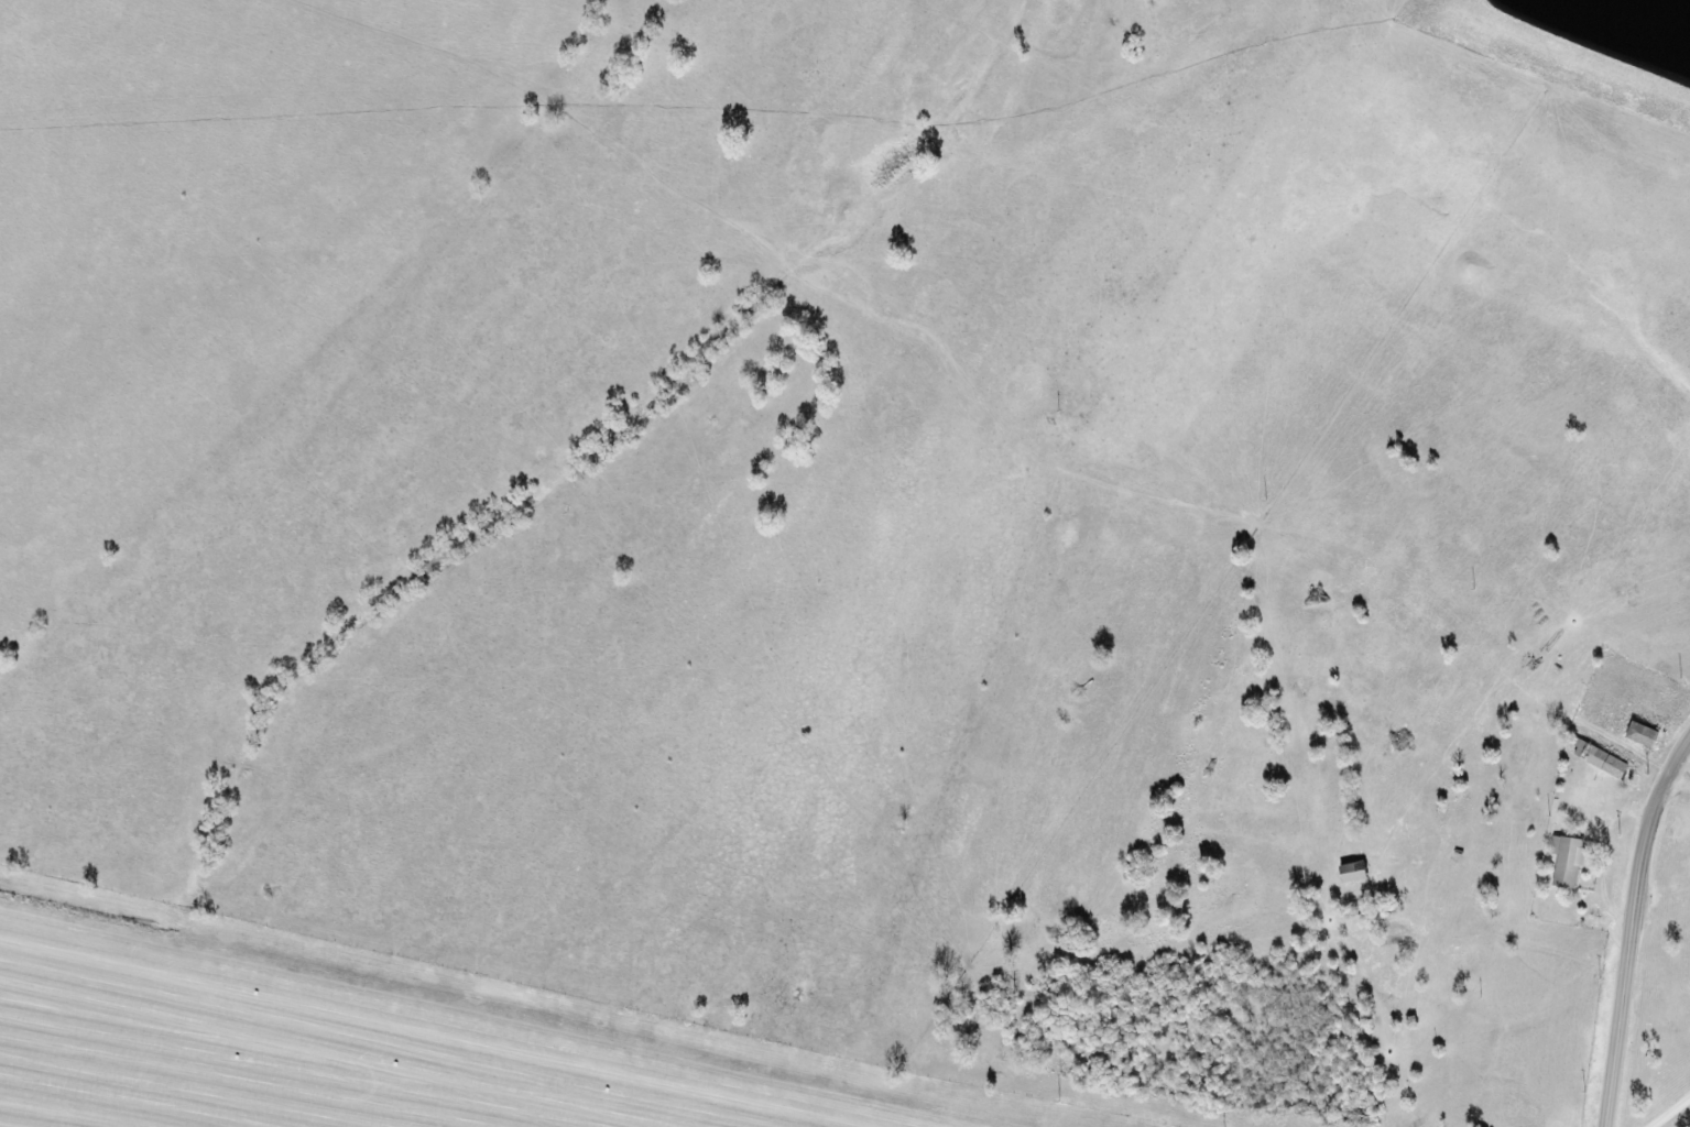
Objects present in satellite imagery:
building: (1636, 733)
building: (1595, 759)
road: (1676, 785)
building: (1561, 862)
building: (1353, 872)
road: (1627, 923)

